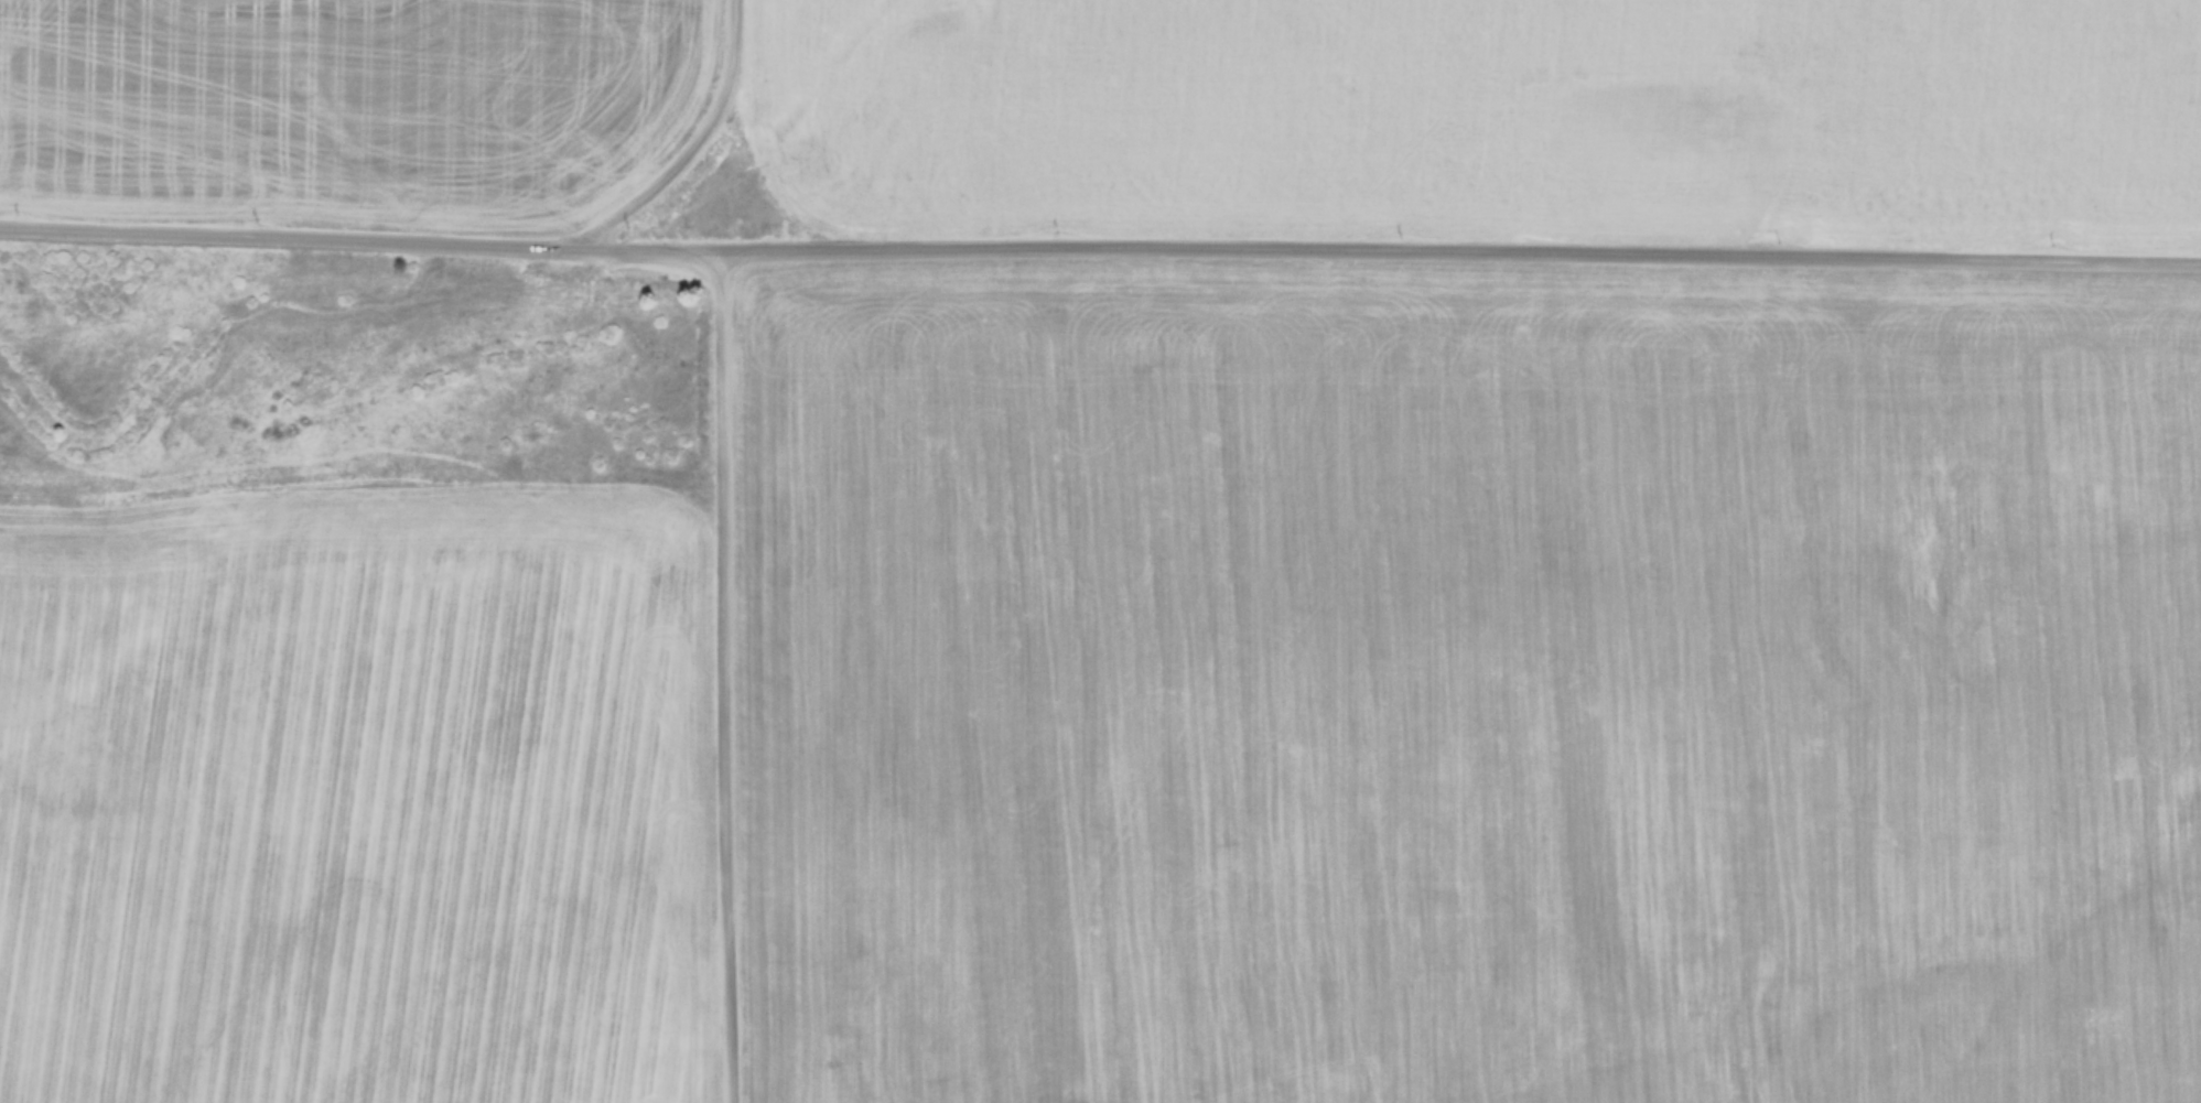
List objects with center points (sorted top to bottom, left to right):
road: (691, 139)
road: (1100, 244)
road: (714, 673)

